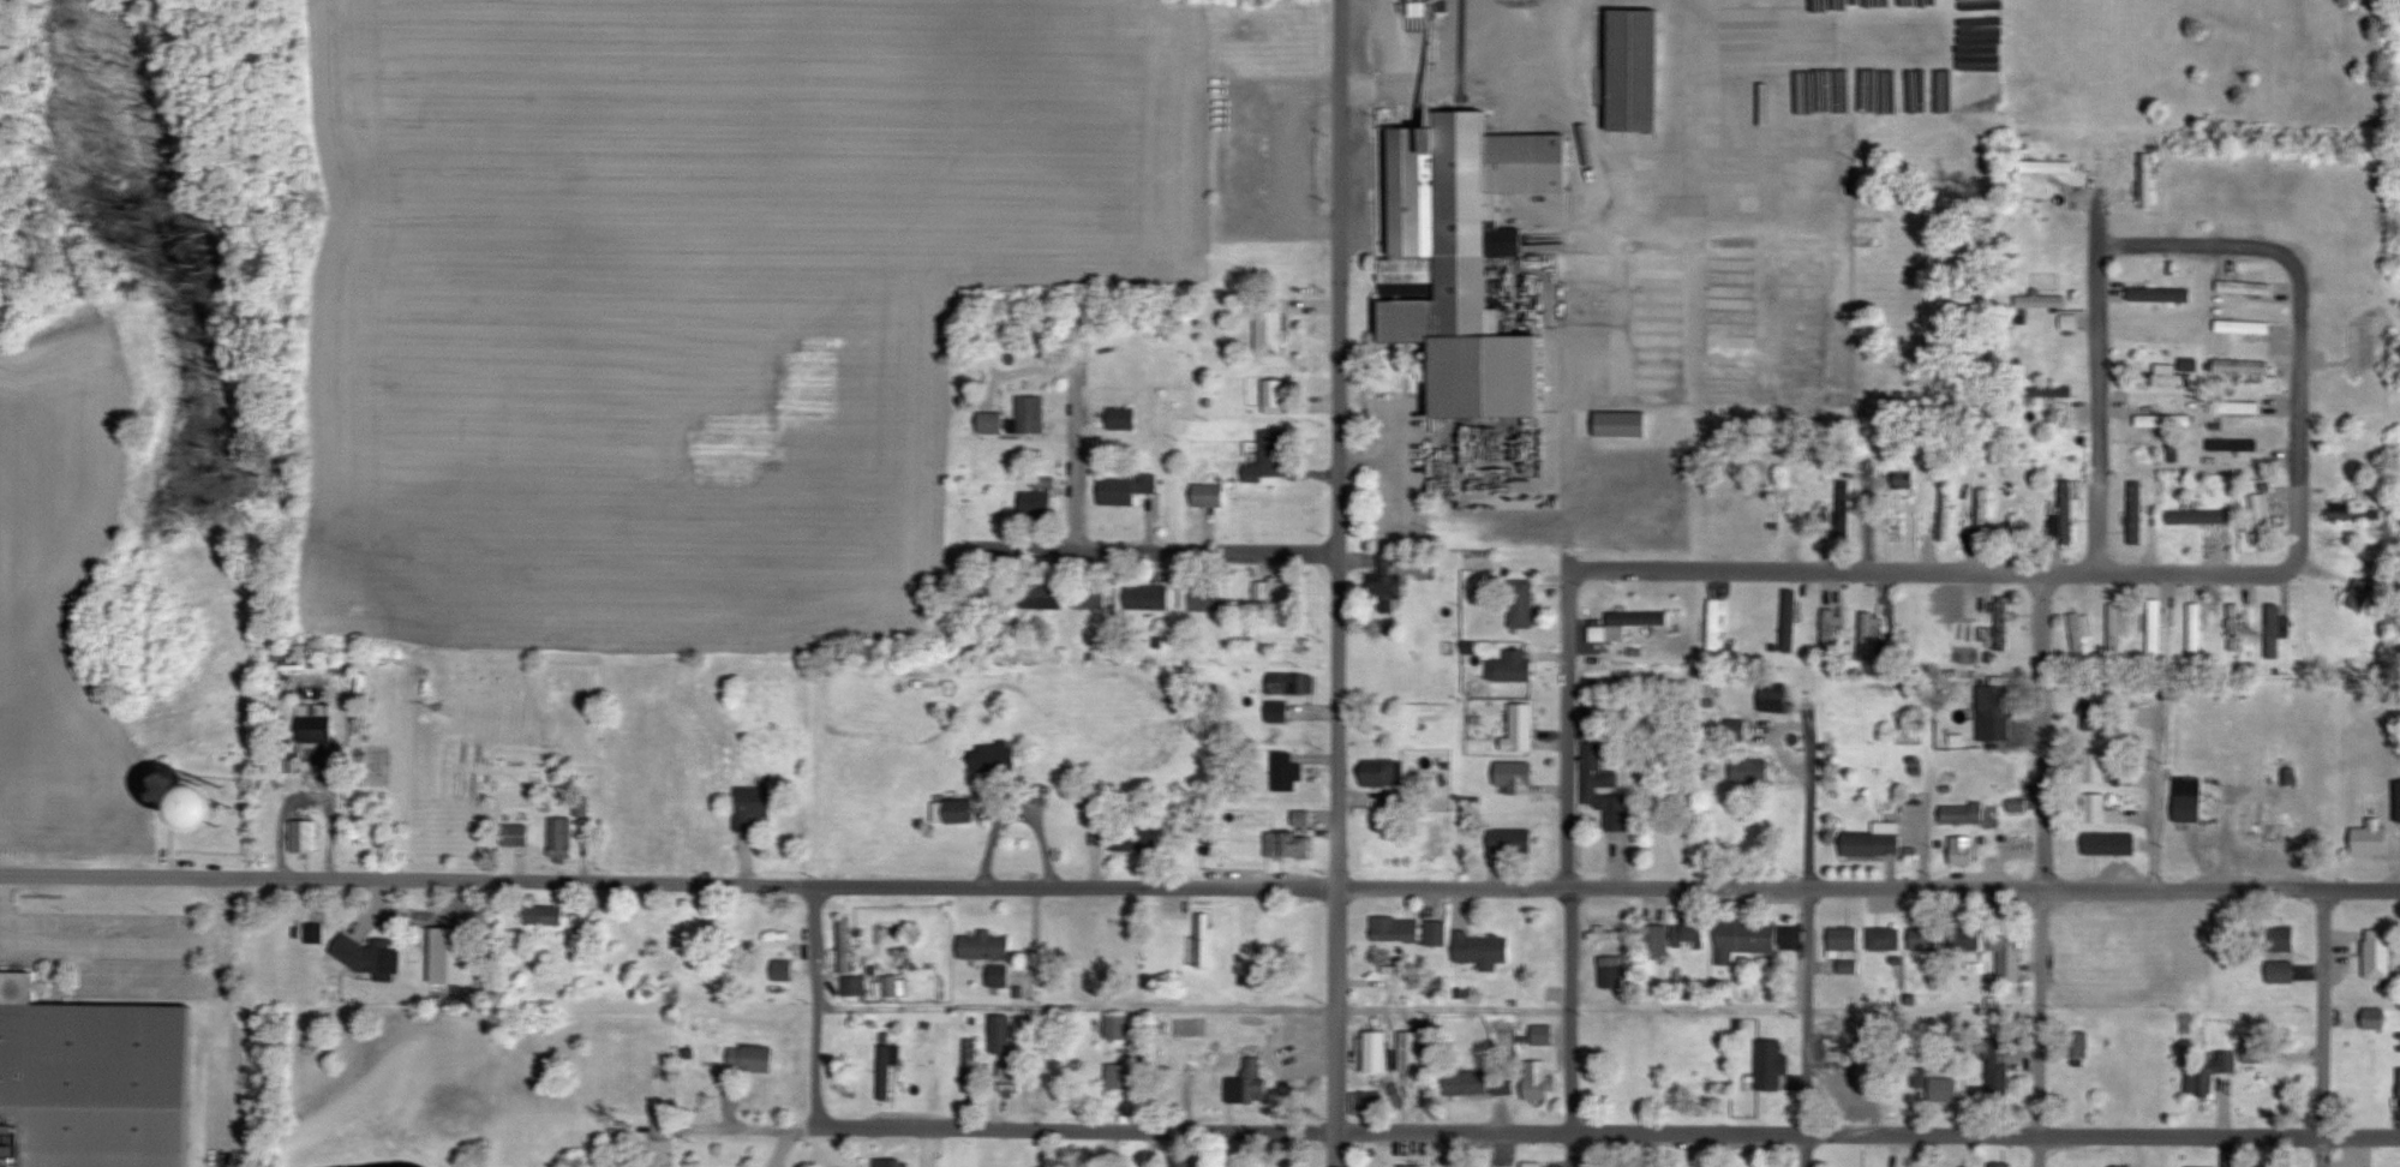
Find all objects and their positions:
building: (1635, 70)
building: (2392, 80)
building: (2047, 167)
building: (2147, 180)
road: (1675, 201)
road: (2097, 210)
road: (1561, 213)
building: (1465, 259)
building: (2160, 294)
building: (2041, 301)
building: (1271, 330)
building: (2357, 351)
building: (2240, 365)
building: (2165, 377)
building: (2048, 391)
building: (1274, 395)
road: (2096, 406)
building: (2234, 407)
building: (1121, 419)
building: (990, 423)
road: (1077, 424)
building: (1621, 424)
building: (2233, 444)
building: (1269, 456)
building: (1903, 479)
building: (1043, 481)
building: (1126, 487)
building: (1209, 495)
building: (1036, 503)
building: (1798, 503)
building: (1280, 508)
building: (1844, 510)
building: (2342, 510)
building: (2136, 511)
building: (1946, 514)
building: (2065, 514)
building: (1895, 515)
building: (1981, 515)
building: (2198, 516)
building: (2263, 517)
road: (1157, 551)
road: (1354, 556)
road: (2184, 573)
building: (1387, 582)
road: (1337, 583)
building: (1275, 590)
building: (2359, 594)
building: (994, 596)
building: (1042, 596)
building: (1091, 597)
building: (1148, 598)
building: (1202, 599)
building: (1522, 603)
building: (2003, 615)
building: (1789, 620)
building: (1633, 622)
building: (1714, 624)
building: (2156, 624)
building: (2118, 626)
building: (2234, 628)
building: (2081, 629)
building: (2195, 630)
building: (2273, 632)
building: (1867, 635)
building: (1512, 666)
building: (1291, 683)
building: (1774, 696)
building: (1277, 712)
building: (1997, 712)
building: (2095, 714)
building: (313, 726)
building: (1520, 728)
building: (994, 756)
building: (2094, 766)
building: (1749, 771)
building: (1285, 772)
building: (1382, 772)
building: (1515, 777)
building: (1602, 780)
building: (2189, 800)
building: (2399, 801)
building: (213, 802)
building: (753, 806)
building: (2100, 809)
building: (953, 810)
building: (1962, 813)
building: (2261, 826)
building: (514, 836)
building: (304, 837)
building: (561, 837)
building: (2371, 837)
building: (1131, 840)
building: (1510, 842)
building: (2109, 842)
building: (1871, 843)
building: (1289, 844)
building: (1964, 850)
road: (1569, 867)
road: (2041, 869)
road: (112, 873)
road: (1311, 886)
road: (4, 903)
building: (544, 915)
building: (773, 926)
building: (1396, 929)
building: (1689, 930)
building: (1436, 933)
building: (1608, 934)
road: (143, 935)
building: (1747, 936)
building: (1843, 938)
building: (1884, 938)
building: (1925, 938)
building: (1964, 938)
building: (514, 940)
building: (1203, 940)
building: (1657, 941)
building: (845, 945)
building: (983, 945)
road: (1808, 946)
building: (1483, 950)
building: (2007, 951)
building: (2377, 953)
building: (453, 954)
building: (2280, 954)
building: (371, 956)
building: (783, 969)
building: (1611, 971)
building: (998, 975)
building: (854, 985)
road: (1191, 1004)
road: (813, 1005)
building: (2375, 1019)
building: (1117, 1027)
road: (2318, 1027)
building: (1542, 1035)
road: (222, 1043)
building: (2079, 1043)
building: (1410, 1051)
building: (1376, 1052)
building: (1839, 1052)
building: (2256, 1053)
building: (1006, 1055)
building: (750, 1058)
building: (1771, 1064)
building: (887, 1071)
building: (2209, 1073)
building: (1920, 1075)
building: (1998, 1075)
building: (1124, 1077)
building: (971, 1078)
building: (1253, 1079)
building: (1537, 1081)
building: (92, 1082)
building: (1466, 1083)
building: (1503, 1083)
building: (1647, 1088)
building: (1943, 1089)
building: (1851, 1090)
building: (1367, 1103)
road: (1494, 1130)
building: (1183, 1160)
building: (892, 1162)
building: (1532, 1165)
building: (2001, 1165)
building: (1414, 1166)
building: (2204, 1166)

